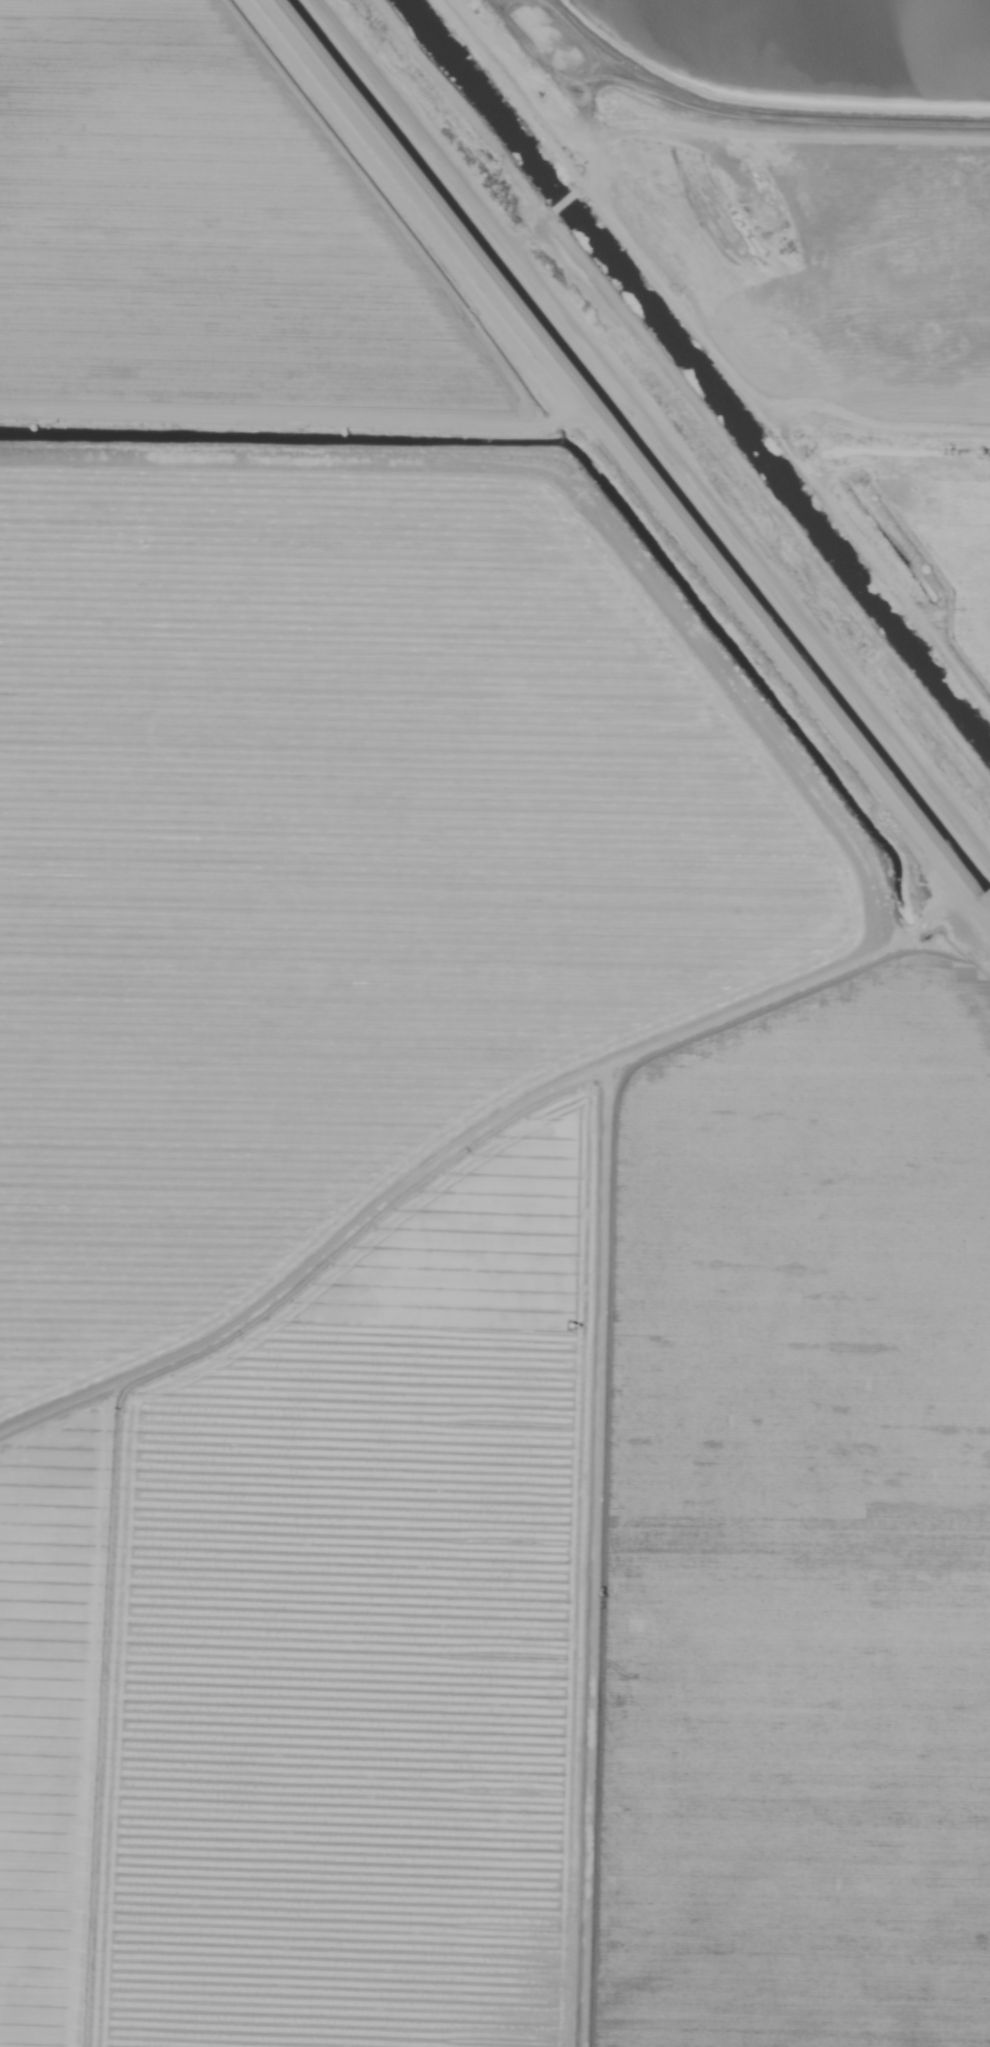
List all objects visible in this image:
road: (583, 83)
road: (557, 202)
road: (528, 231)
road: (290, 421)
road: (652, 435)
road: (984, 902)
crop: (486, 1059)
road: (474, 1138)
road: (590, 1555)

